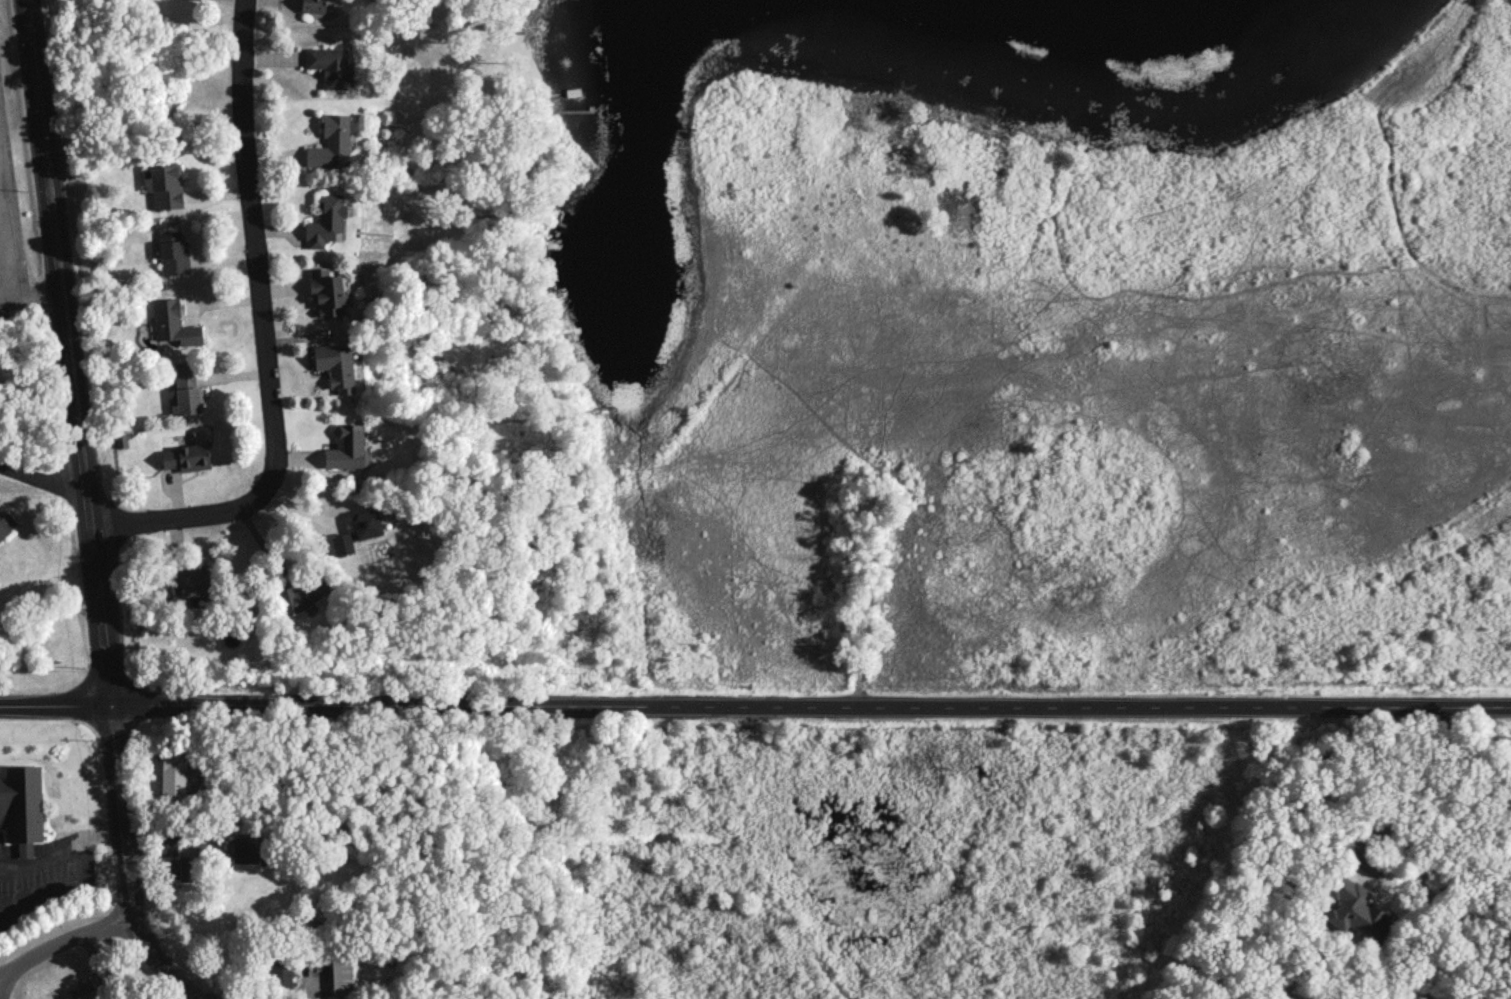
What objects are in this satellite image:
building: (312, 5)
building: (331, 66)
building: (331, 142)
building: (165, 186)
building: (326, 220)
parking lot: (12, 227)
road: (53, 250)
building: (173, 253)
road: (1, 280)
building: (326, 292)
building: (173, 323)
road: (265, 337)
building: (335, 366)
building: (346, 447)
building: (185, 457)
road: (42, 483)
road: (85, 515)
building: (365, 524)
building: (2, 531)
building: (342, 543)
building: (303, 592)
road: (55, 702)
road: (810, 705)
road: (116, 773)
building: (174, 773)
road: (1445, 789)
building: (22, 806)
road: (43, 855)
building: (178, 867)
road: (76, 880)
building: (1356, 909)
road: (65, 939)
building: (280, 973)

